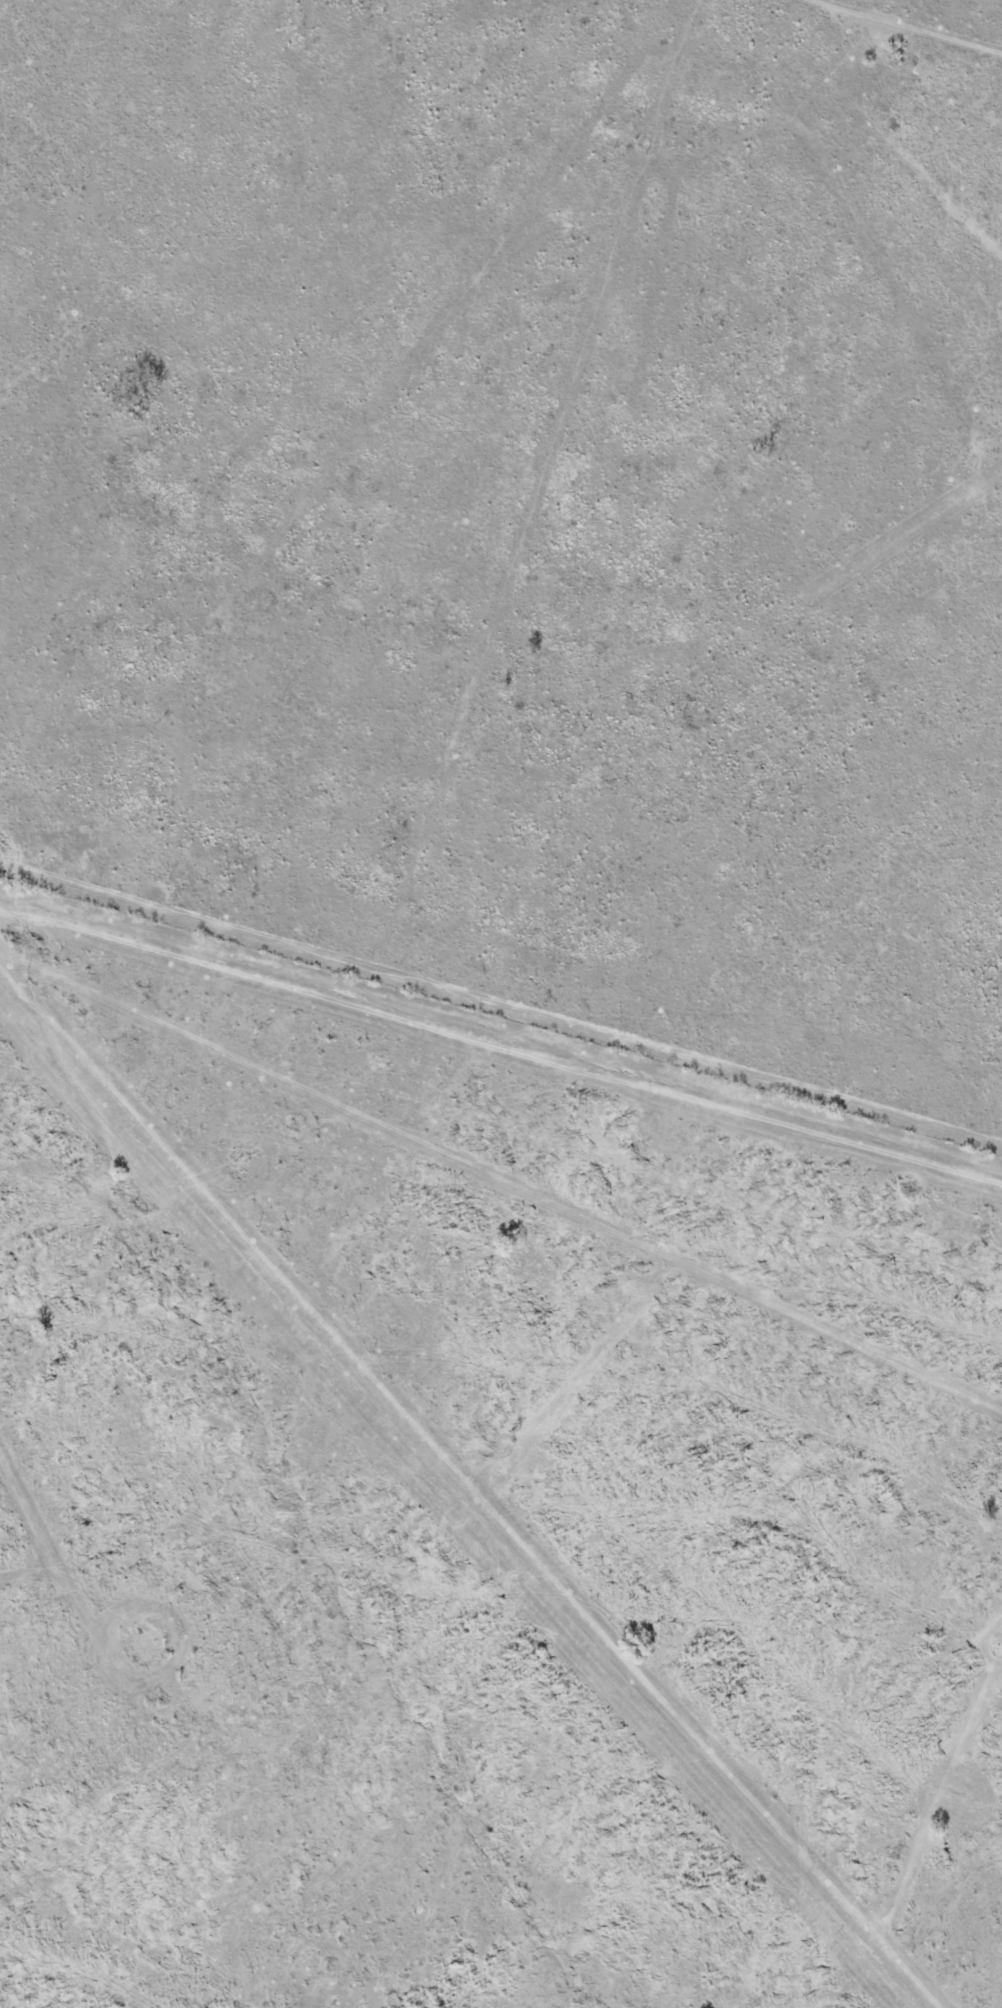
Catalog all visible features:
road: (501, 1031)

